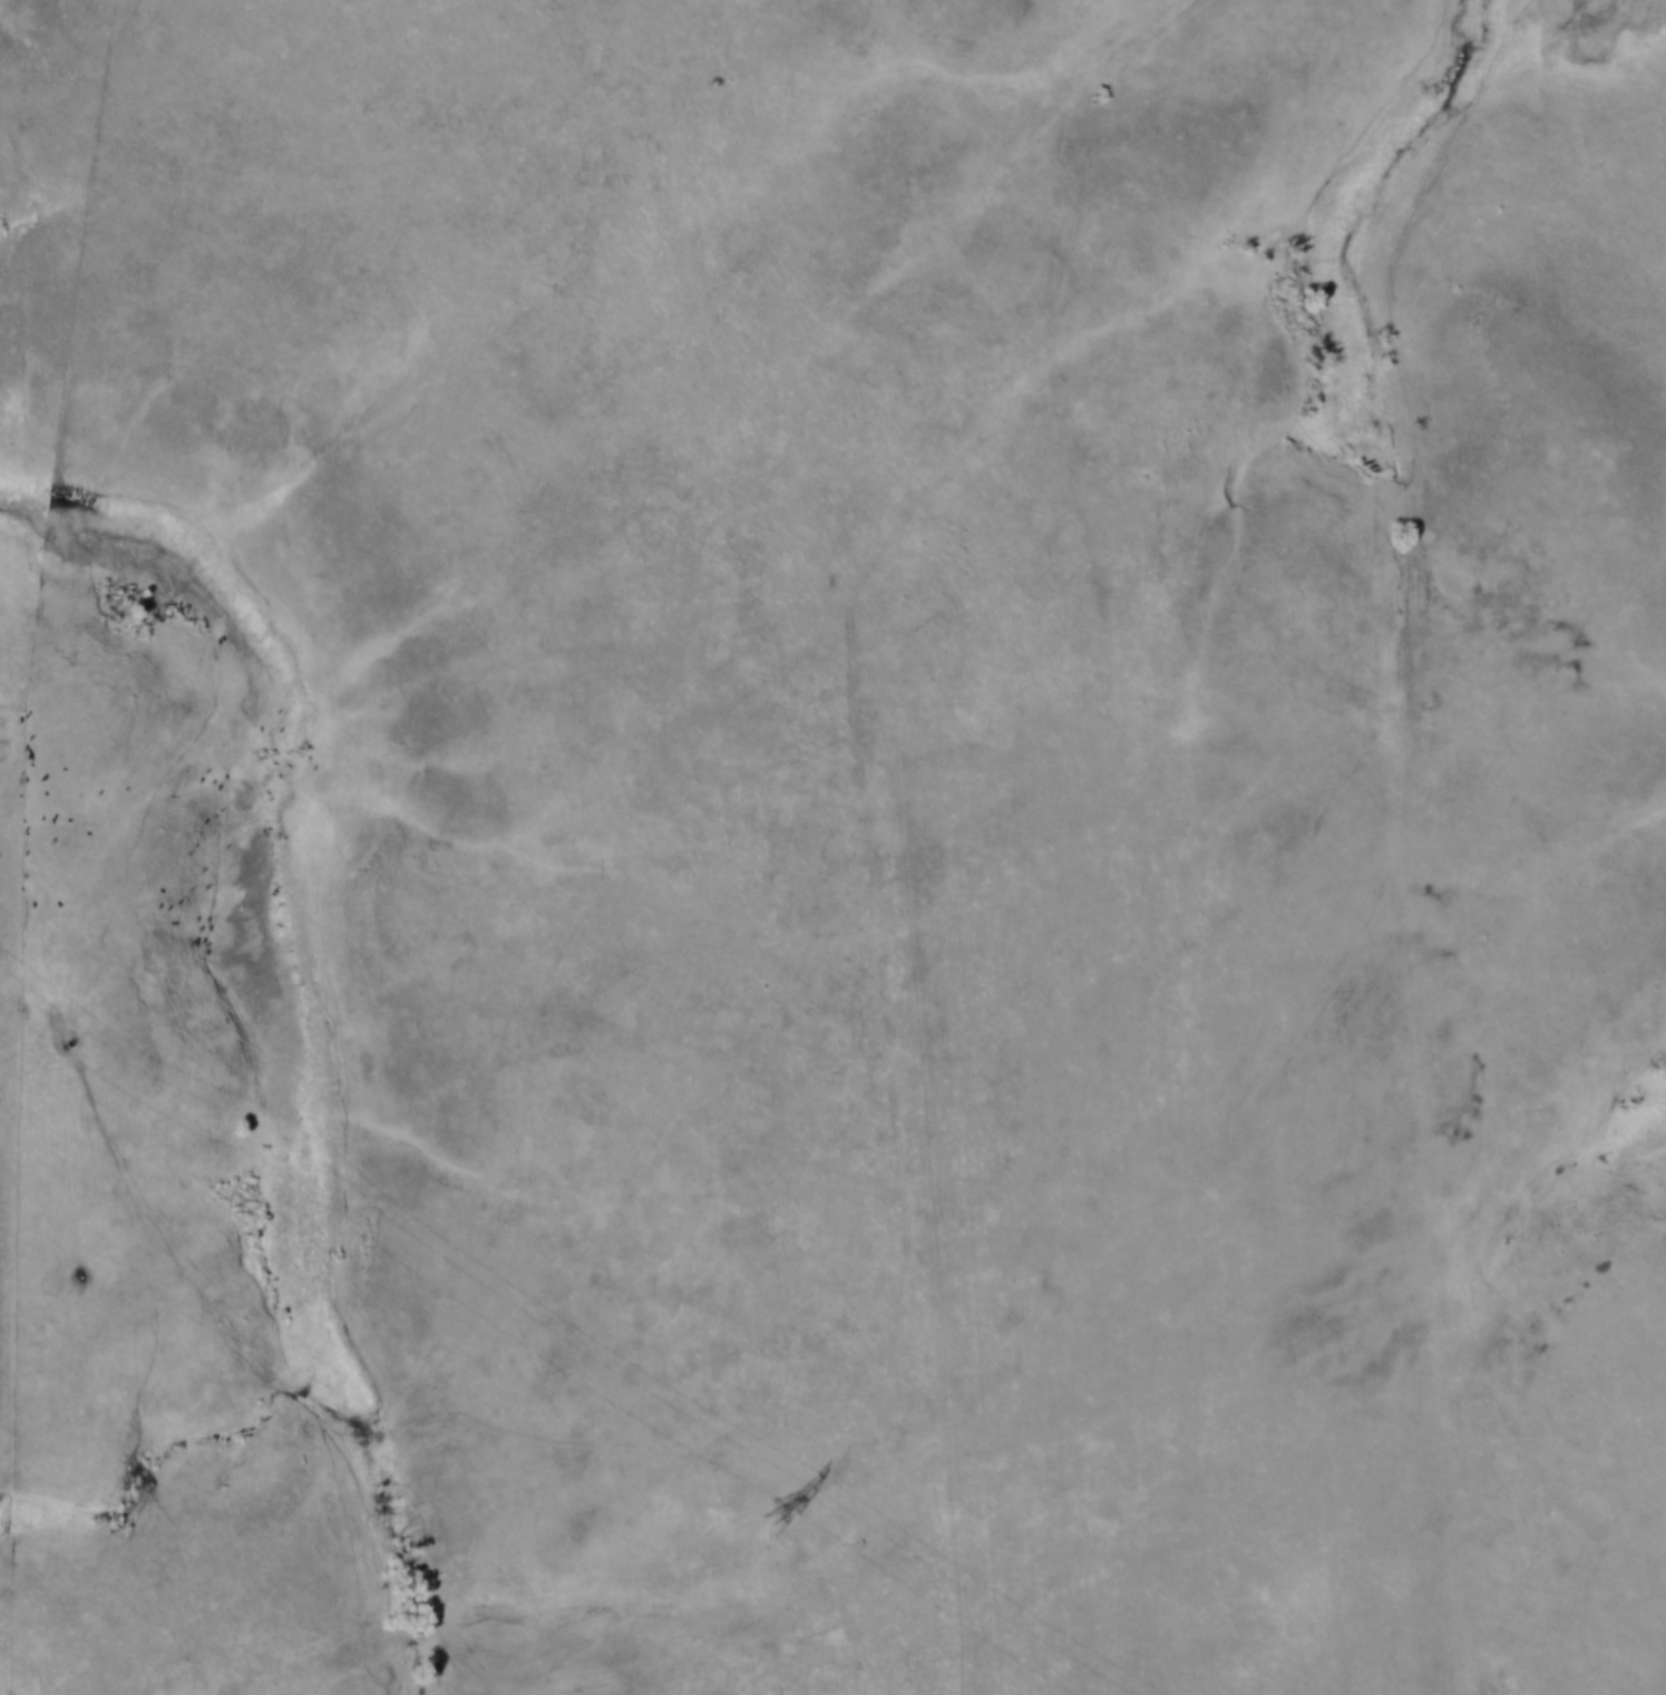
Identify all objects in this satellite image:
road: (876, 894)
power tower: (776, 1513)

